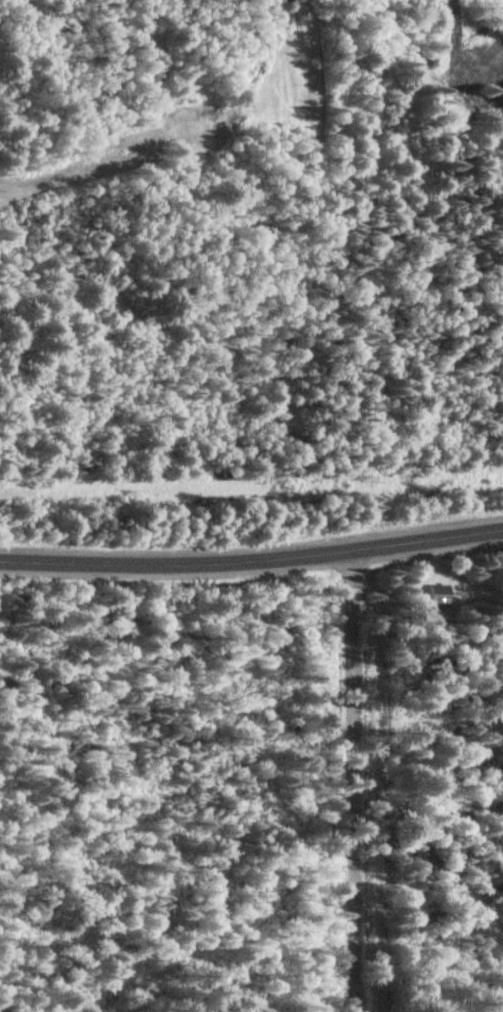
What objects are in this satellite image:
road: (63, 254)
road: (252, 559)
building: (443, 595)
road: (362, 782)

